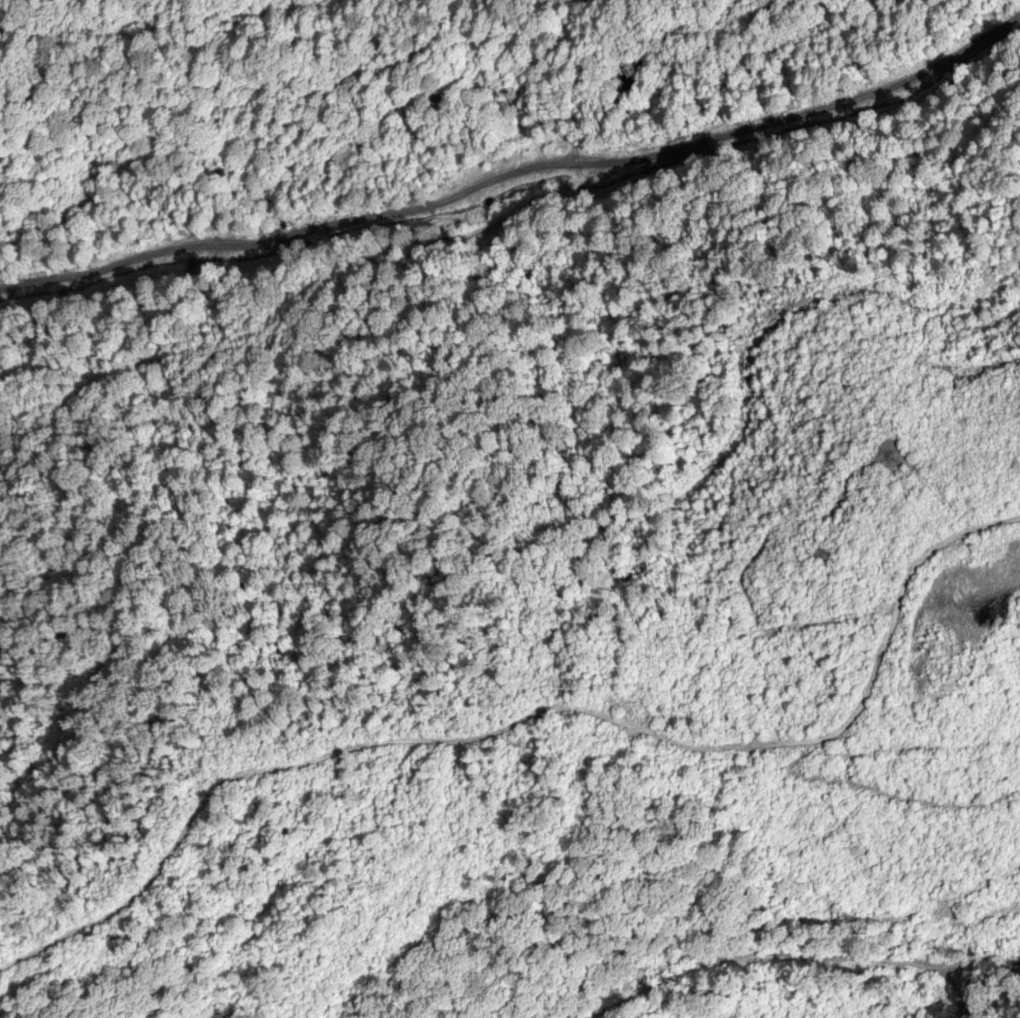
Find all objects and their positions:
road: (516, 169)

